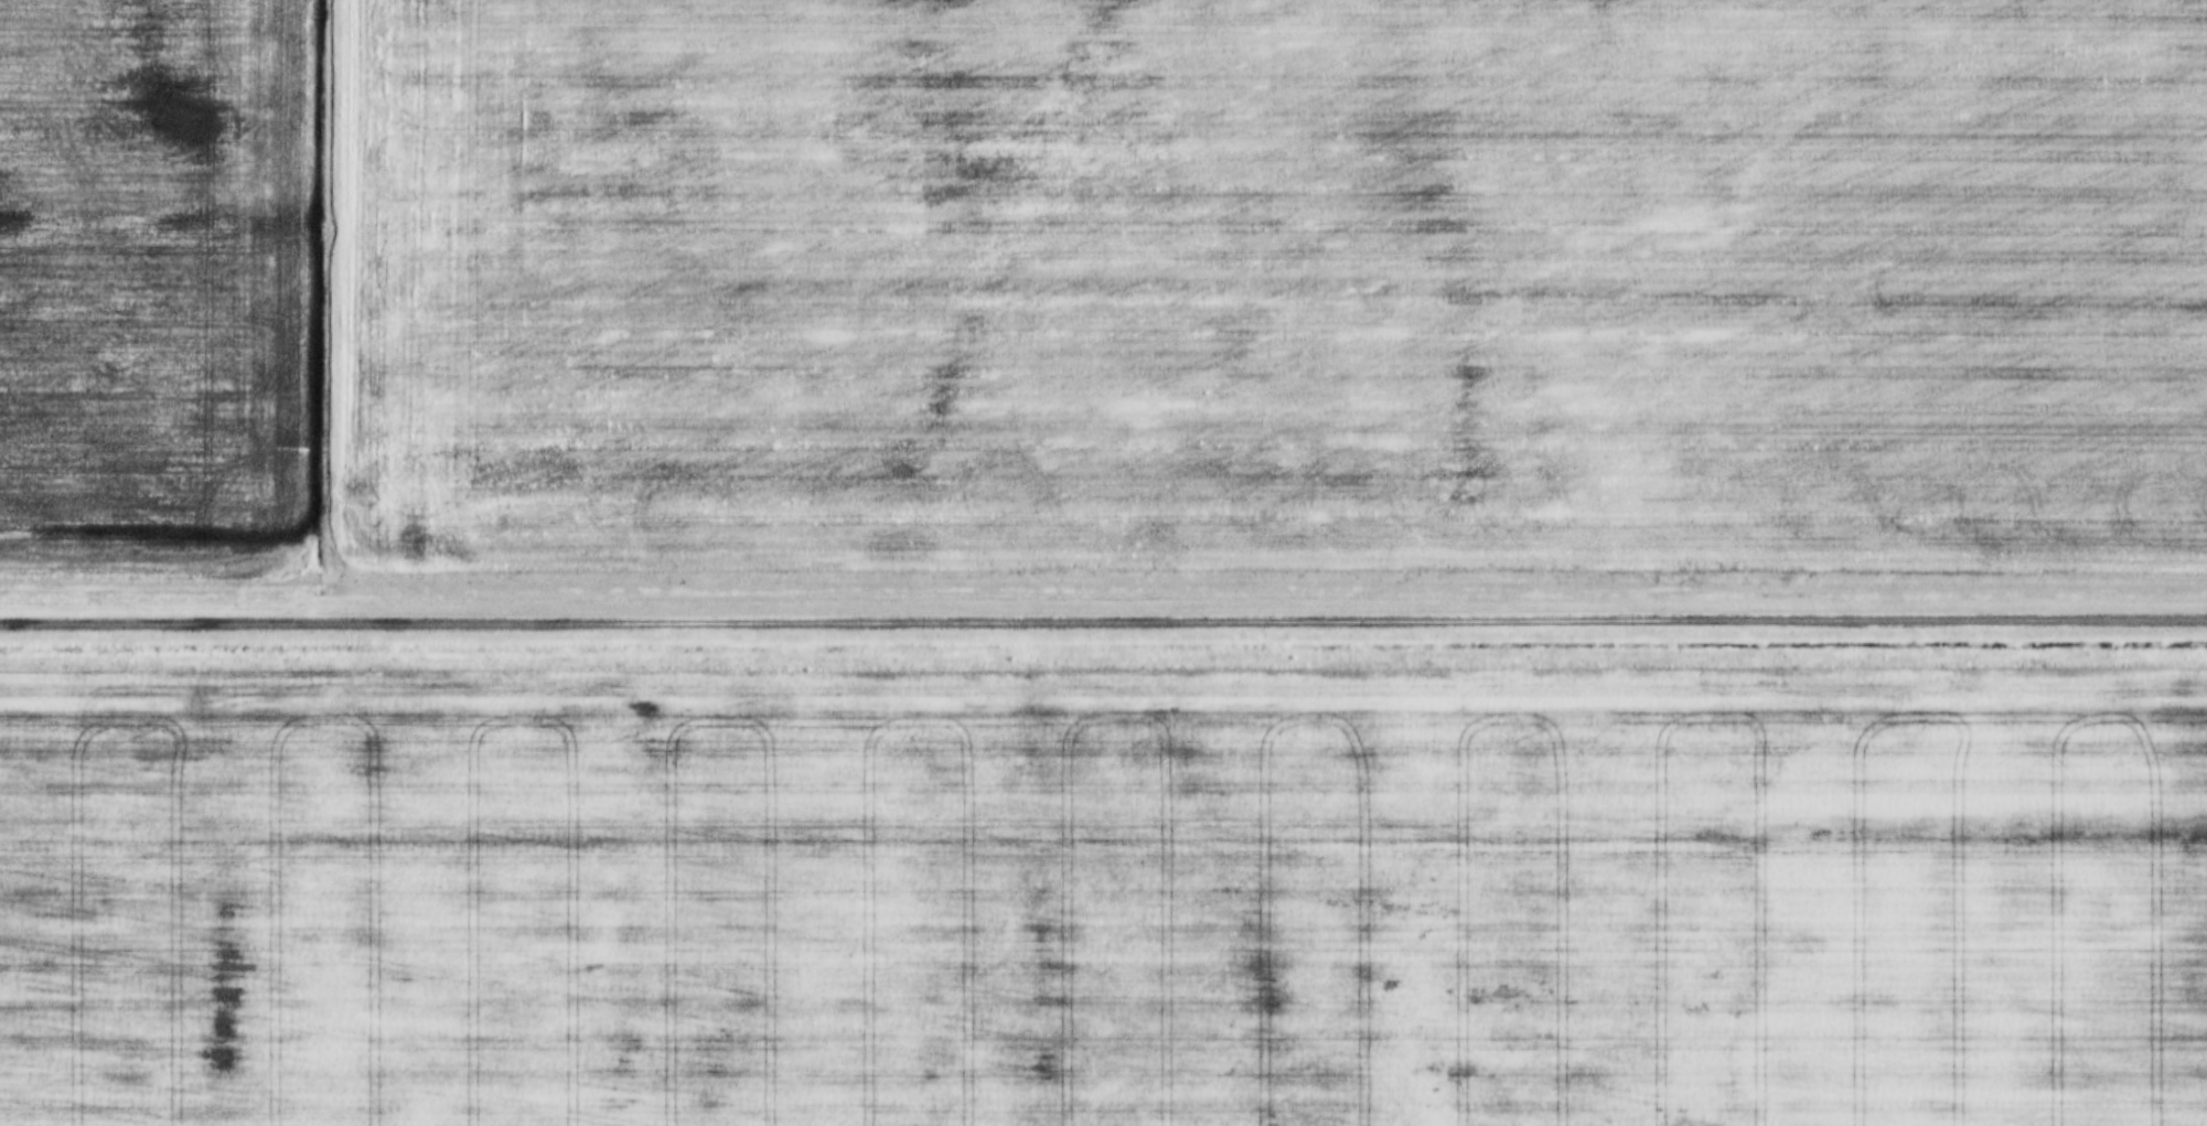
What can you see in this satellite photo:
road: (1103, 622)

